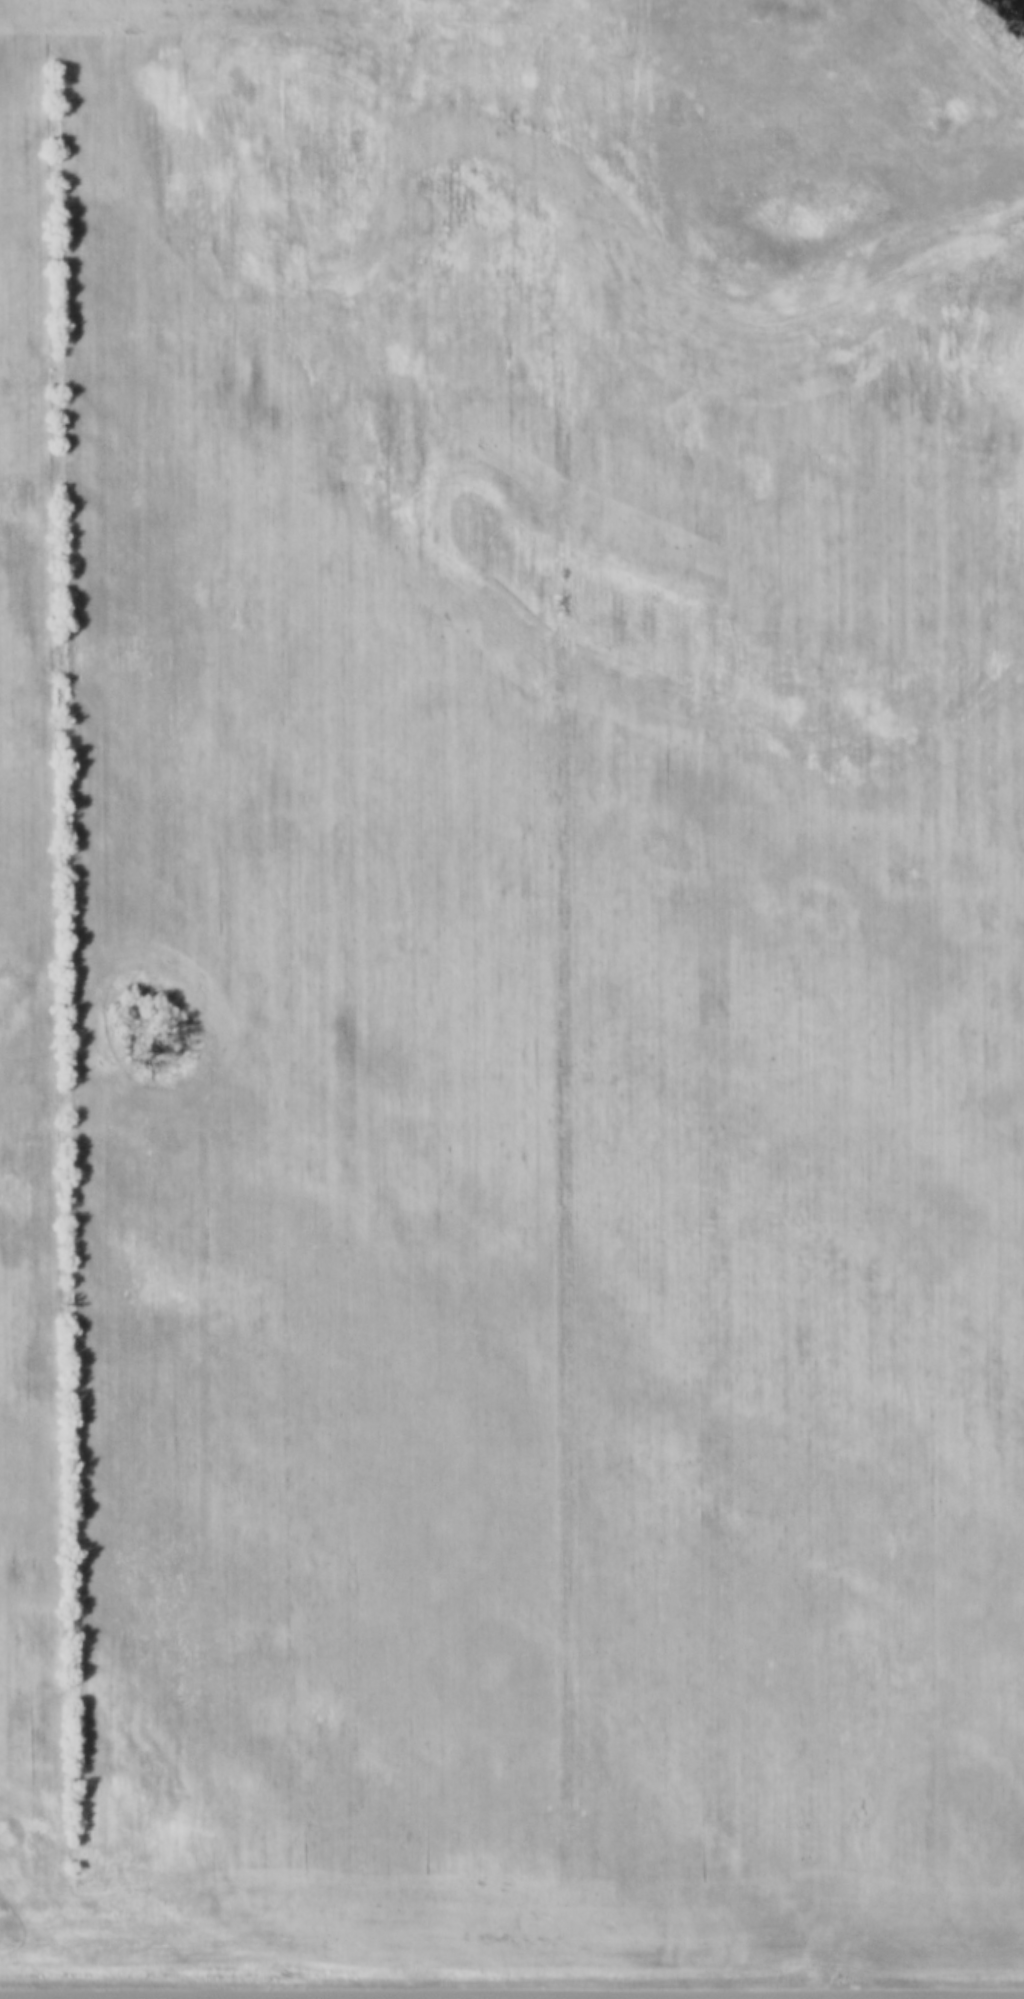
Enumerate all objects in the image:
road: (511, 1994)

